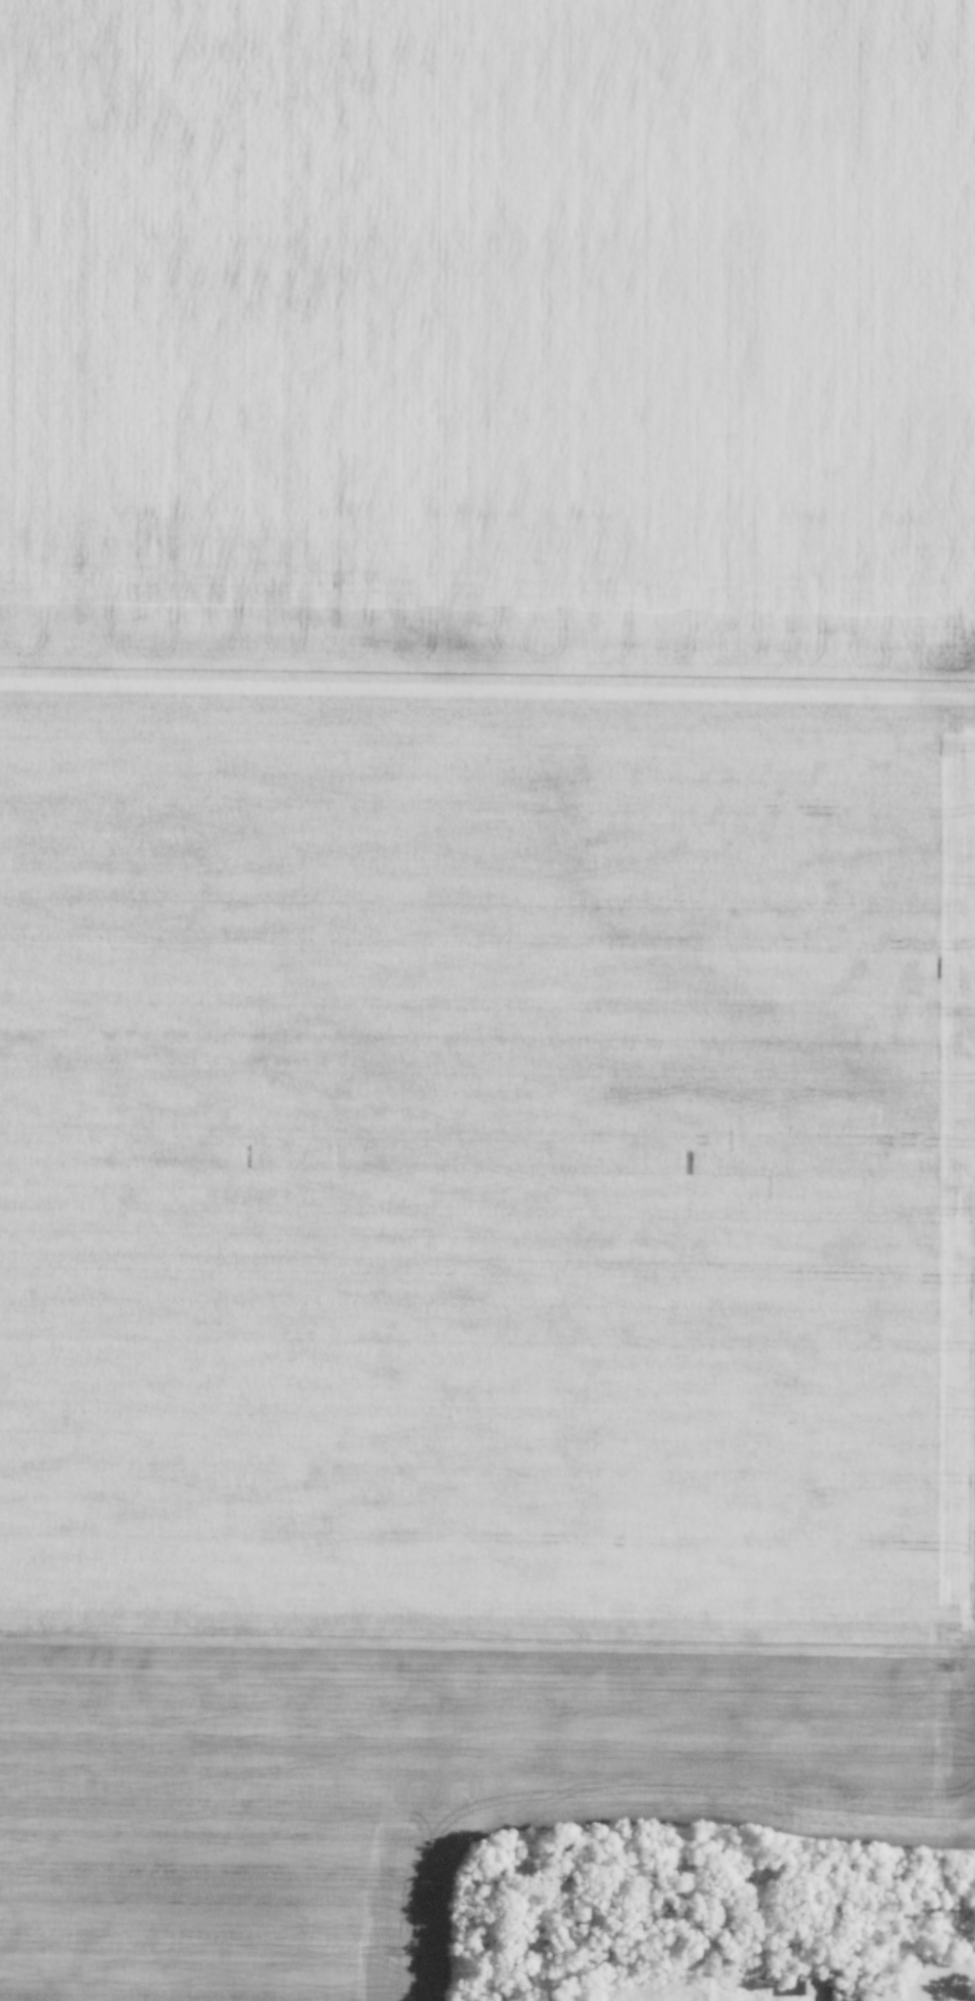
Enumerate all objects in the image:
building: (804, 1987)
building: (830, 1994)

